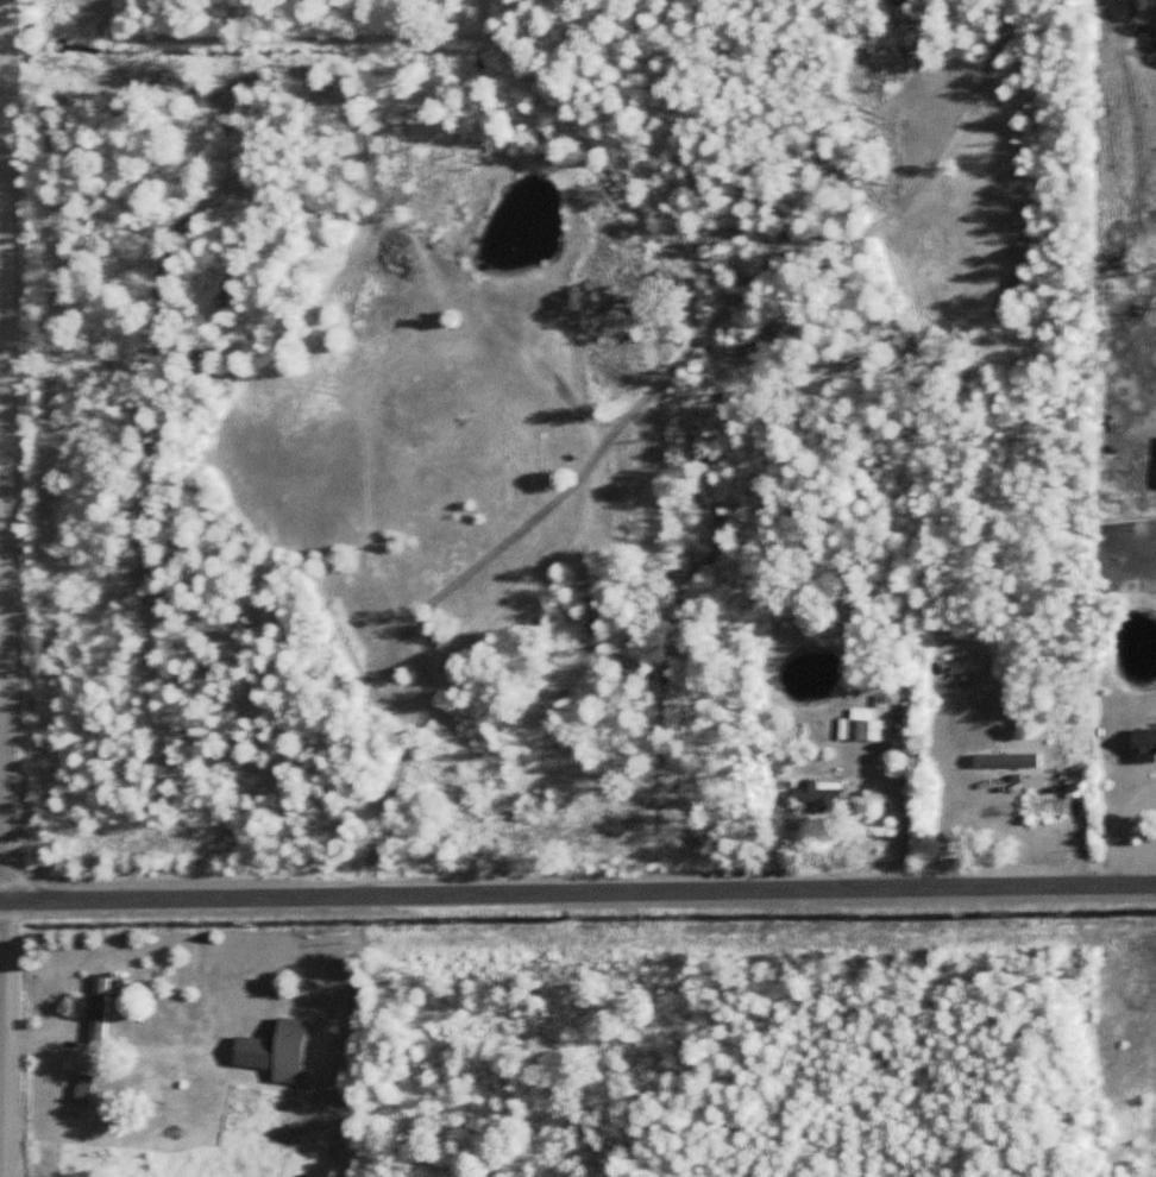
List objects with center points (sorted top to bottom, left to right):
road: (6, 587)
building: (859, 726)
building: (1143, 742)
building: (1075, 780)
building: (818, 791)
building: (1041, 806)
road: (1123, 827)
road: (577, 888)
building: (100, 1009)
building: (274, 1051)
building: (82, 1089)

